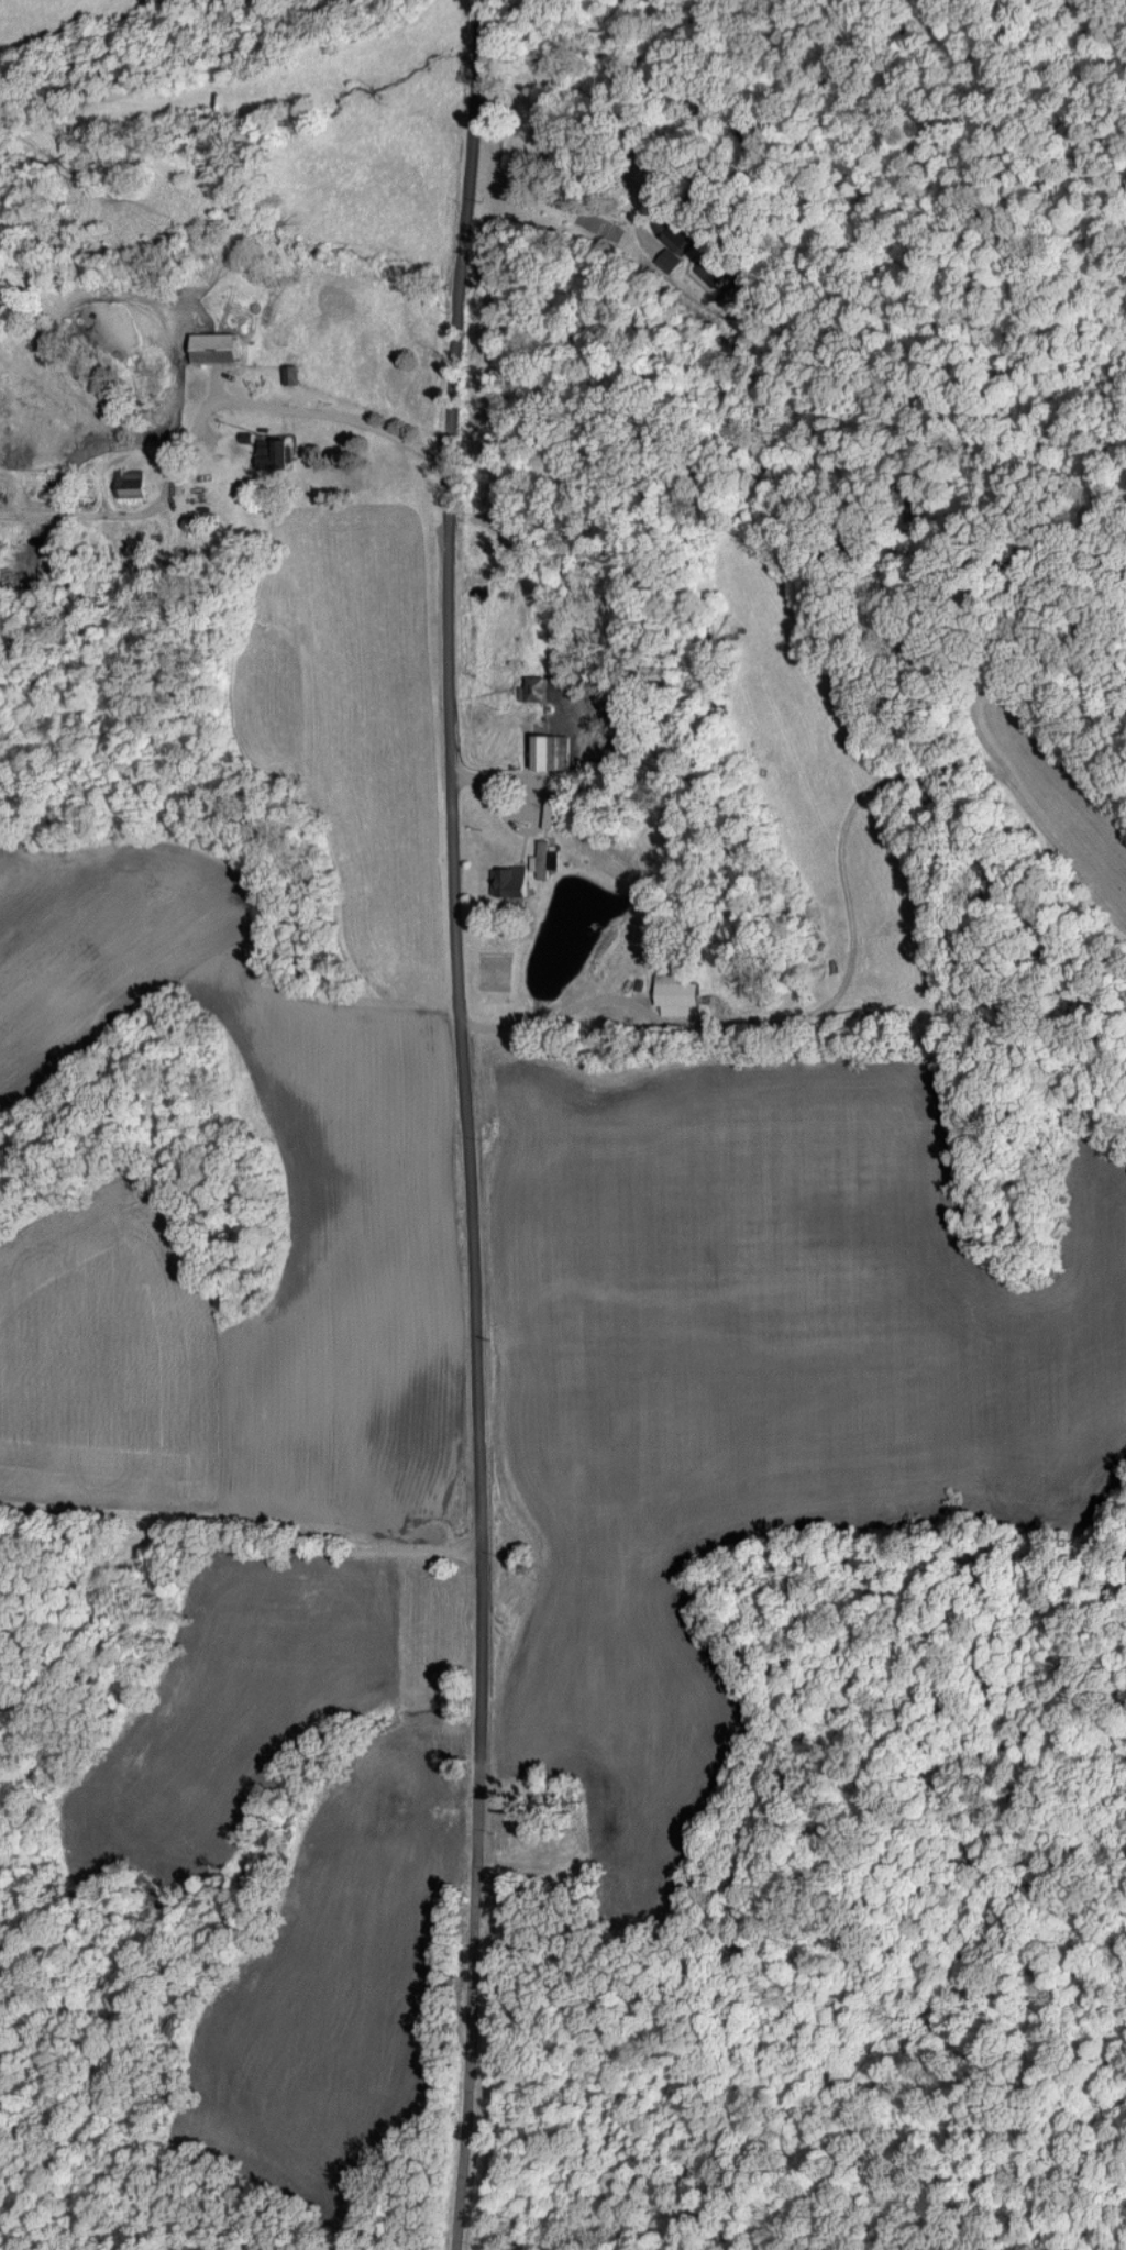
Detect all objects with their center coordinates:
road: (623, 154)
road: (638, 209)
building: (213, 348)
building: (291, 374)
road: (330, 412)
building: (272, 452)
building: (542, 749)
building: (507, 880)
building: (677, 996)
road: (547, 1001)
road: (460, 1124)
road: (242, 1540)
road: (466, 1556)

